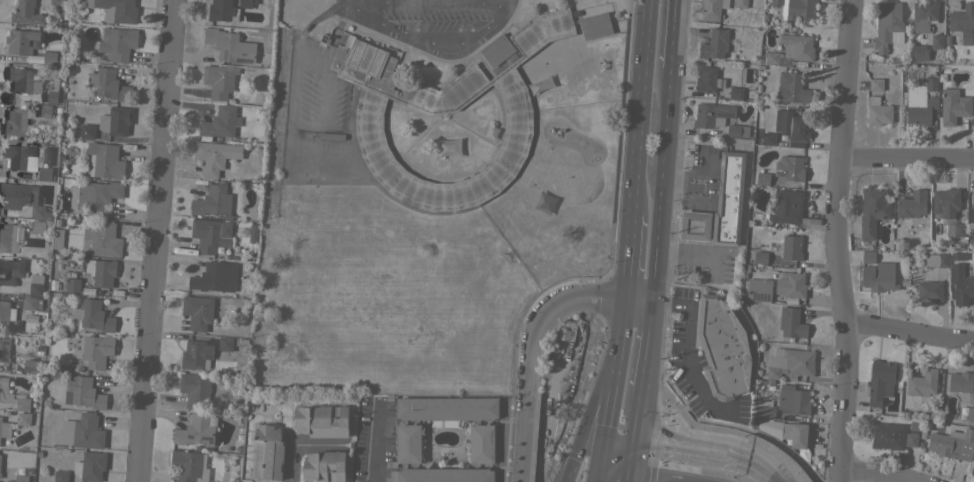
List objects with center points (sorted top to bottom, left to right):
road: (422, 1)
building: (56, 2)
building: (776, 2)
building: (245, 3)
building: (740, 3)
road: (339, 5)
building: (713, 8)
building: (800, 9)
building: (116, 10)
building: (220, 10)
building: (26, 13)
building: (924, 15)
road: (314, 20)
building: (962, 20)
building: (886, 24)
building: (595, 25)
road: (673, 33)
building: (20, 41)
building: (937, 41)
road: (428, 42)
building: (118, 43)
building: (714, 44)
building: (230, 46)
building: (497, 49)
building: (791, 50)
rooftop solar panel: (225, 52)
building: (918, 52)
building: (52, 58)
rooftop solar panel: (243, 60)
building: (708, 79)
building: (219, 80)
building: (21, 81)
building: (108, 84)
building: (876, 84)
building: (791, 87)
building: (50, 91)
building: (736, 93)
building: (921, 102)
building: (434, 103)
road: (639, 107)
building: (954, 107)
building: (44, 110)
building: (878, 112)
building: (712, 115)
building: (115, 121)
building: (13, 122)
building: (219, 122)
building: (794, 126)
building: (737, 130)
building: (87, 131)
building: (331, 136)
building: (768, 138)
road: (288, 141)
building: (214, 156)
building: (18, 157)
road: (905, 158)
building: (104, 161)
building: (789, 168)
building: (45, 173)
building: (761, 179)
road: (664, 188)
building: (98, 195)
building: (21, 198)
building: (728, 199)
building: (213, 201)
building: (945, 202)
building: (912, 204)
building: (786, 206)
building: (972, 209)
building: (872, 210)
building: (38, 226)
building: (695, 226)
building: (958, 229)
building: (208, 235)
building: (9, 236)
building: (57, 238)
building: (101, 239)
road: (154, 241)
road: (834, 241)
building: (585, 244)
building: (791, 248)
building: (958, 256)
building: (760, 257)
building: (868, 257)
road: (628, 258)
building: (936, 260)
building: (11, 271)
building: (101, 271)
building: (214, 277)
building: (882, 277)
building: (790, 284)
building: (961, 284)
building: (35, 285)
building: (72, 285)
building: (757, 289)
building: (929, 290)
rooftop solar panel: (757, 297)
building: (31, 303)
building: (197, 311)
building: (6, 313)
building: (92, 315)
rooftop solar panel: (10, 316)
building: (791, 323)
road: (908, 333)
road: (534, 338)
building: (225, 343)
rooftop solar panel: (192, 346)
building: (722, 347)
building: (4, 349)
building: (97, 350)
road: (650, 352)
building: (196, 354)
road: (688, 361)
building: (790, 363)
building: (30, 365)
building: (880, 381)
building: (961, 381)
road: (611, 382)
building: (922, 383)
building: (195, 389)
building: (83, 392)
building: (12, 396)
building: (786, 403)
building: (447, 408)
road: (588, 412)
building: (970, 413)
building: (23, 418)
building: (322, 420)
road: (641, 423)
building: (3, 428)
building: (196, 430)
building: (82, 431)
building: (785, 431)
rooftop solar panel: (189, 435)
building: (884, 436)
rooftop solar panel: (209, 438)
road: (372, 439)
building: (911, 439)
building: (408, 443)
building: (481, 443)
building: (953, 444)
road: (322, 445)
traffic signals: (637, 451)
building: (267, 452)
road: (688, 452)
road: (293, 456)
road: (618, 456)
building: (0, 457)
traffic signals: (600, 462)
building: (92, 466)
building: (189, 466)
building: (324, 466)
road: (634, 466)
road: (598, 472)
road: (753, 472)
building: (0, 474)
road: (872, 474)
building: (441, 475)
building: (60, 476)
building: (21, 478)

